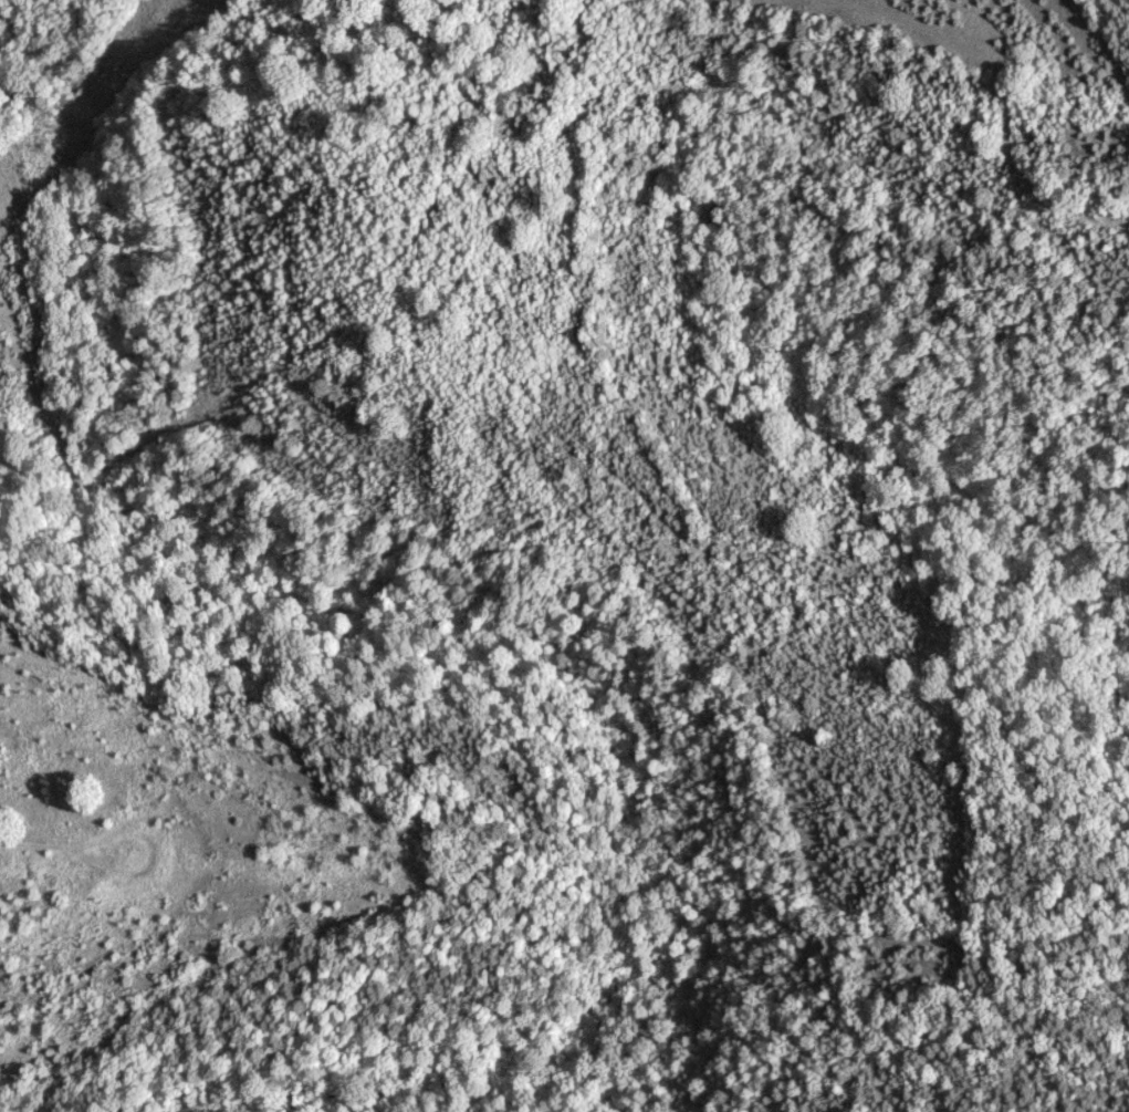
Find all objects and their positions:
road: (36, 848)
road: (157, 852)

